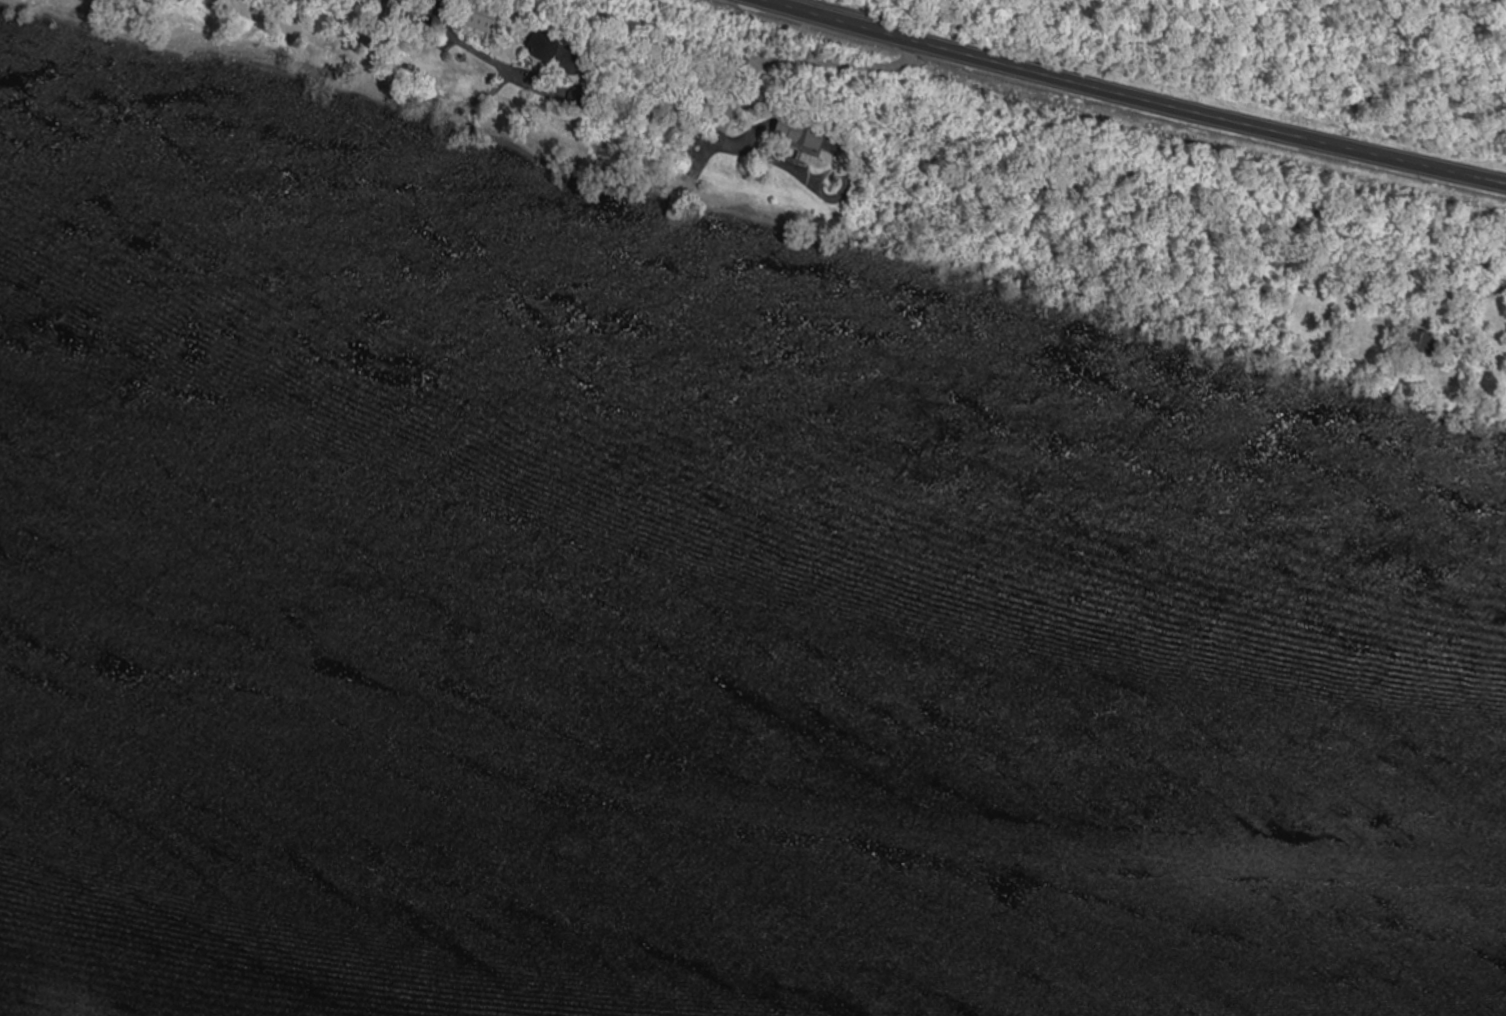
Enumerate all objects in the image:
road: (770, 1)
building: (380, 4)
building: (483, 21)
building: (557, 54)
road: (1139, 95)
building: (803, 135)
river: (745, 849)

